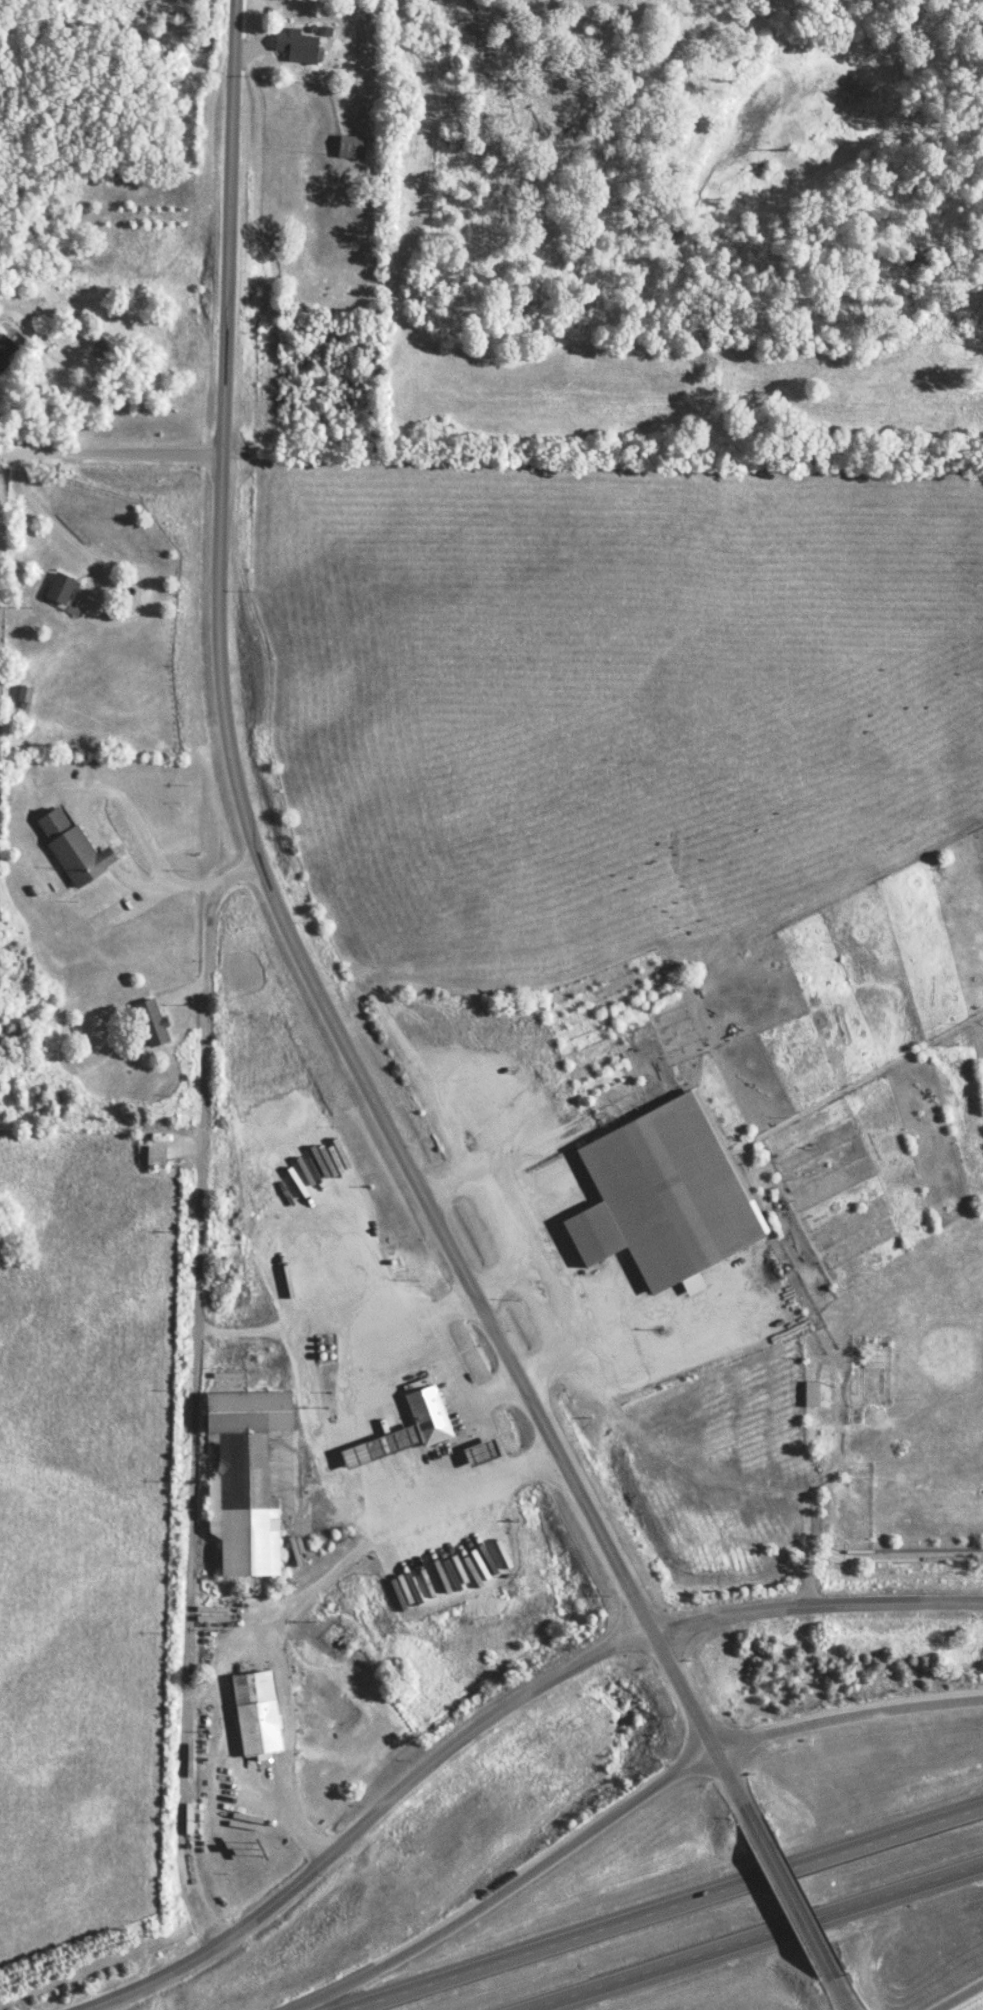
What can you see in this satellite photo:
building: (296, 47)
building: (350, 148)
building: (6, 350)
road: (110, 454)
road: (46, 512)
building: (60, 590)
road: (106, 624)
building: (24, 694)
road: (99, 788)
building: (73, 848)
road: (194, 882)
road: (302, 957)
building: (151, 1022)
building: (155, 1155)
building: (663, 1197)
road: (194, 1391)
building: (811, 1394)
building: (406, 1430)
building: (244, 1481)
road: (807, 1489)
road: (815, 1599)
road: (845, 1710)
road: (435, 1755)
road: (504, 1885)
road: (782, 1895)
road: (663, 1908)
road: (753, 1937)
road: (160, 1973)
road: (831, 1989)
road: (954, 1995)

